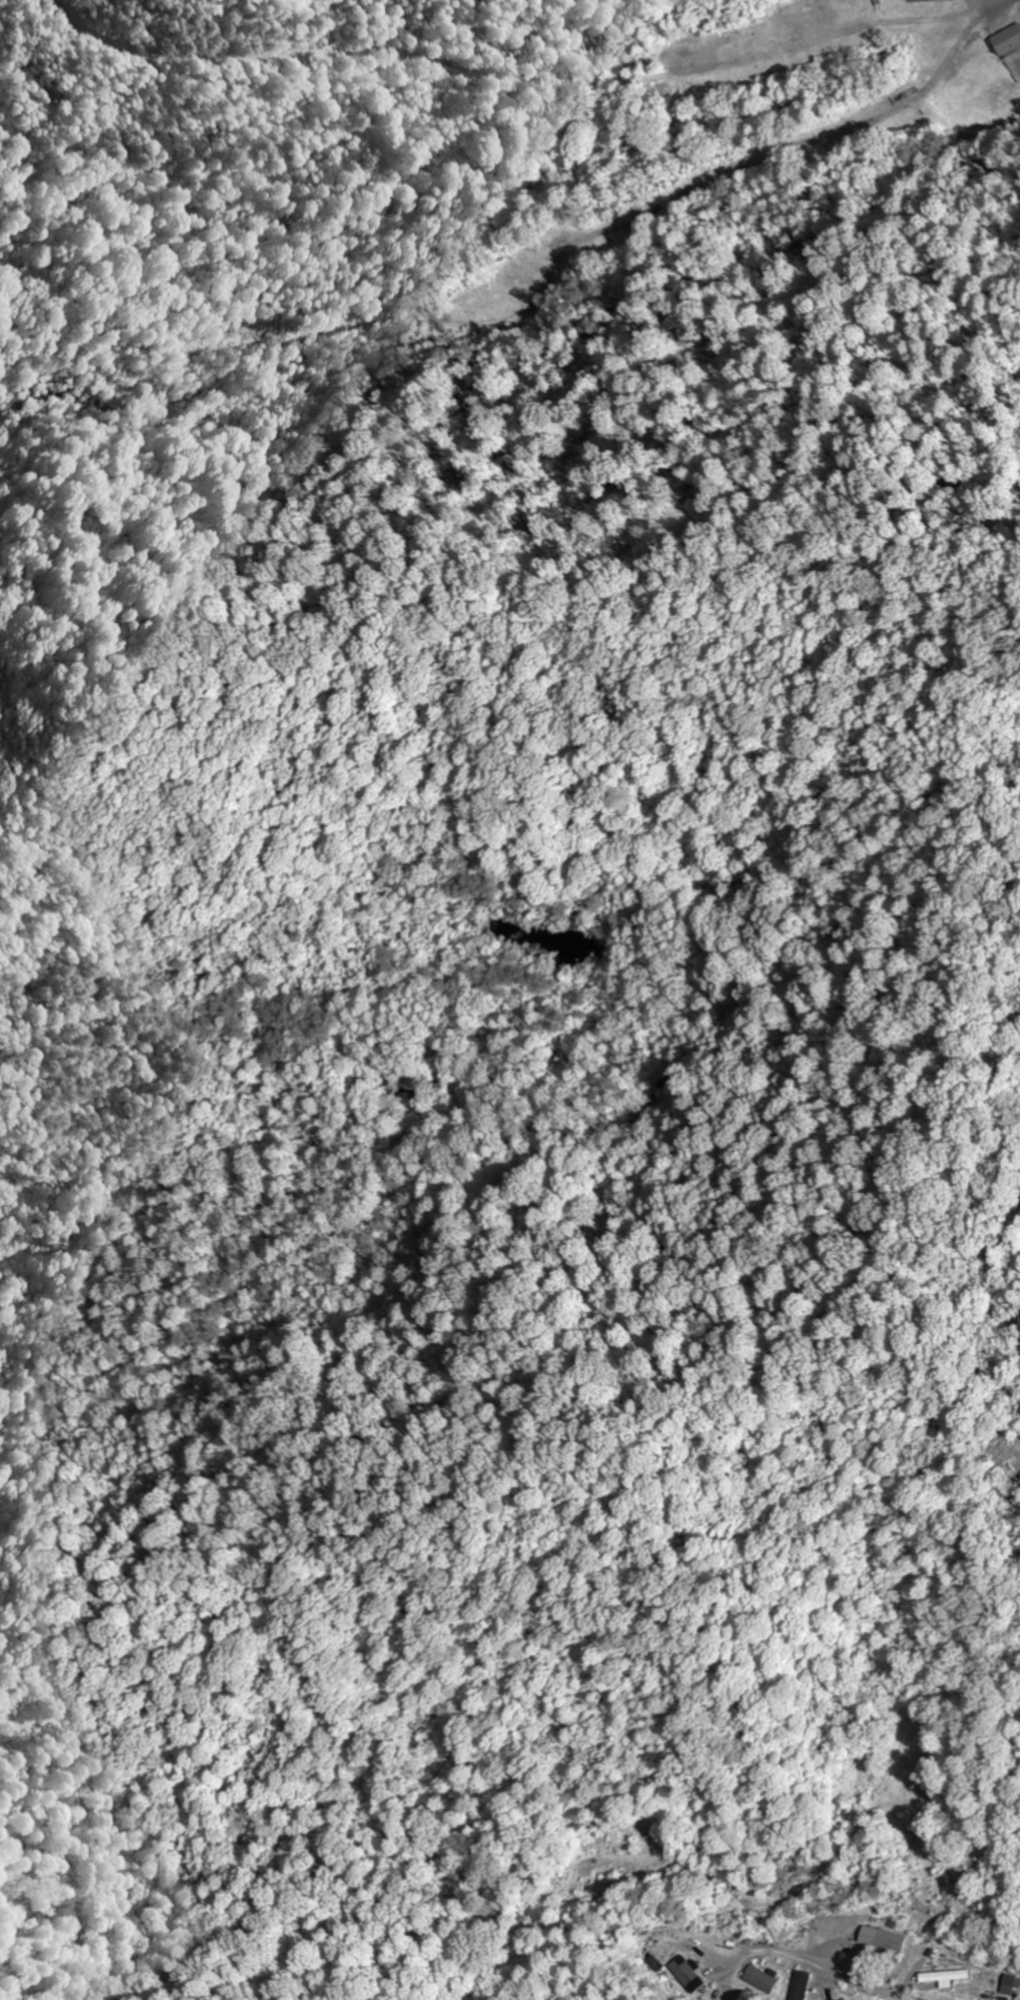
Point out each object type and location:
building: (1008, 40)
building: (882, 1941)
road: (834, 1972)
building: (942, 1978)

